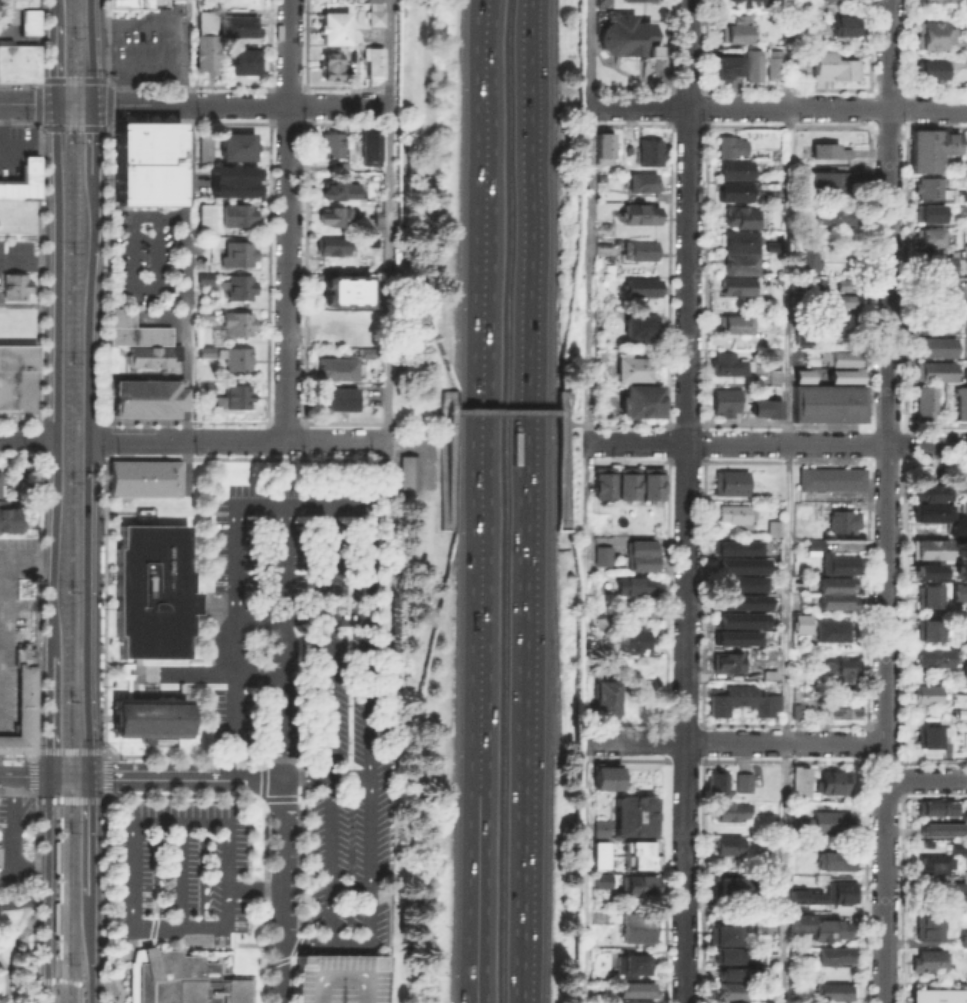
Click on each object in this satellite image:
building: (643, 0)
building: (941, 0)
building: (745, 1)
building: (137, 4)
road: (56, 10)
building: (20, 13)
building: (203, 17)
building: (375, 17)
building: (237, 23)
building: (845, 24)
building: (333, 27)
building: (734, 27)
building: (934, 33)
building: (622, 34)
road: (106, 39)
road: (38, 40)
road: (270, 42)
road: (306, 42)
parking lot: (147, 46)
building: (203, 50)
road: (91, 51)
road: (289, 52)
road: (586, 53)
building: (16, 58)
building: (240, 59)
building: (370, 59)
building: (327, 62)
road: (56, 63)
building: (751, 63)
building: (772, 63)
building: (829, 63)
building: (724, 64)
building: (929, 67)
road: (19, 82)
road: (187, 85)
road: (288, 85)
road: (348, 85)
road: (270, 103)
road: (306, 103)
traffic signals: (56, 104)
traffic signals: (93, 104)
road: (144, 104)
road: (339, 105)
road: (776, 107)
road: (107, 121)
road: (19, 122)
road: (287, 122)
road: (92, 138)
building: (326, 142)
building: (730, 143)
building: (145, 144)
building: (201, 144)
building: (233, 146)
building: (367, 146)
building: (929, 146)
building: (601, 148)
building: (829, 149)
building: (647, 150)
building: (732, 166)
building: (828, 176)
building: (19, 178)
building: (237, 179)
building: (641, 180)
building: (336, 186)
building: (925, 186)
building: (144, 187)
building: (732, 190)
building: (962, 208)
building: (927, 211)
road: (525, 212)
building: (640, 212)
building: (240, 213)
building: (332, 213)
building: (832, 213)
building: (738, 215)
building: (205, 216)
road: (388, 220)
building: (927, 236)
building: (329, 243)
road: (187, 245)
building: (771, 246)
building: (737, 247)
building: (637, 248)
building: (236, 250)
parking lot: (144, 256)
building: (806, 260)
building: (934, 263)
road: (587, 266)
road: (37, 271)
road: (288, 272)
building: (202, 275)
building: (846, 281)
building: (12, 282)
building: (734, 282)
building: (238, 284)
building: (639, 286)
building: (344, 290)
building: (932, 290)
building: (847, 299)
building: (200, 311)
road: (305, 313)
building: (333, 319)
building: (841, 319)
building: (235, 320)
building: (734, 322)
building: (934, 323)
building: (638, 324)
building: (365, 333)
building: (803, 335)
building: (138, 338)
building: (934, 346)
building: (203, 348)
building: (364, 350)
building: (774, 354)
building: (233, 356)
building: (845, 356)
building: (728, 363)
building: (336, 365)
building: (632, 367)
road: (788, 371)
building: (934, 371)
building: (16, 374)
building: (802, 375)
building: (843, 375)
building: (965, 375)
road: (58, 379)
building: (204, 386)
building: (232, 394)
building: (335, 396)
building: (143, 398)
road: (451, 398)
road: (560, 399)
building: (639, 399)
building: (722, 399)
building: (826, 401)
building: (924, 402)
building: (961, 402)
building: (765, 408)
road: (505, 412)
road: (18, 419)
road: (263, 422)
road: (286, 422)
road: (668, 422)
road: (686, 422)
road: (704, 423)
road: (627, 424)
road: (785, 424)
road: (867, 424)
road: (886, 424)
road: (905, 425)
road: (936, 425)
road: (37, 437)
road: (28, 439)
road: (106, 439)
road: (187, 440)
road: (337, 440)
road: (586, 441)
road: (668, 442)
road: (705, 442)
road: (866, 442)
road: (776, 443)
road: (905, 443)
road: (18, 455)
road: (626, 460)
road: (704, 460)
road: (746, 460)
road: (827, 460)
road: (667, 461)
road: (685, 461)
road: (866, 461)
road: (886, 461)
road: (905, 461)
road: (936, 461)
building: (408, 471)
road: (87, 473)
road: (380, 473)
road: (206, 475)
building: (143, 477)
building: (829, 477)
building: (961, 479)
building: (603, 482)
building: (729, 482)
building: (626, 483)
building: (650, 483)
building: (929, 489)
road: (487, 495)
railway: (67, 501)
railway: (77, 501)
road: (686, 501)
road: (885, 501)
road: (244, 504)
road: (443, 506)
building: (964, 507)
building: (731, 509)
road: (162, 510)
building: (932, 511)
building: (801, 516)
building: (5, 517)
building: (841, 520)
building: (958, 524)
road: (566, 526)
building: (776, 526)
building: (811, 540)
road: (105, 544)
building: (734, 544)
building: (928, 546)
building: (960, 548)
building: (640, 553)
building: (600, 554)
road: (27, 557)
building: (836, 559)
building: (737, 561)
road: (283, 565)
building: (926, 570)
building: (960, 571)
building: (737, 579)
building: (632, 584)
building: (833, 588)
building: (151, 589)
building: (959, 592)
building: (927, 594)
building: (740, 598)
road: (37, 602)
building: (738, 616)
building: (964, 616)
road: (324, 617)
building: (801, 623)
road: (280, 626)
building: (926, 628)
building: (625, 629)
building: (830, 629)
building: (733, 634)
building: (965, 636)
building: (629, 640)
building: (753, 650)
building: (966, 654)
building: (933, 655)
building: (724, 657)
building: (840, 668)
building: (964, 670)
road: (197, 674)
building: (927, 693)
building: (606, 696)
building: (742, 698)
building: (958, 700)
building: (19, 702)
building: (838, 706)
building: (794, 708)
road: (522, 711)
road: (53, 715)
building: (148, 717)
road: (236, 722)
road: (286, 725)
road: (329, 726)
road: (369, 727)
road: (583, 730)
parking lot: (278, 732)
building: (928, 734)
road: (733, 743)
road: (70, 750)
road: (20, 756)
road: (33, 774)
road: (107, 774)
road: (183, 774)
road: (69, 775)
traffic signals: (89, 775)
road: (25, 776)
traffic signals: (51, 776)
road: (322, 776)
building: (605, 777)
building: (832, 779)
road: (925, 779)
building: (742, 781)
building: (798, 781)
building: (715, 782)
road: (20, 792)
road: (261, 797)
road: (70, 799)
building: (936, 806)
building: (728, 809)
building: (962, 813)
building: (633, 815)
road: (265, 819)
road: (179, 820)
building: (820, 820)
building: (600, 827)
building: (941, 827)
road: (88, 834)
road: (12, 842)
building: (728, 842)
building: (958, 846)
building: (598, 854)
building: (639, 854)
building: (832, 858)
building: (932, 861)
building: (966, 863)
road: (180, 872)
road: (785, 873)
building: (809, 877)
road: (47, 878)
building: (601, 879)
building: (724, 881)
building: (635, 883)
road: (255, 888)
road: (54, 889)
building: (838, 890)
road: (284, 892)
building: (958, 893)
building: (805, 896)
building: (798, 922)
road: (178, 925)
building: (927, 925)
building: (828, 927)
building: (636, 929)
building: (722, 931)
building: (963, 935)
road: (90, 937)
road: (326, 948)
building: (832, 953)
building: (728, 954)
park: (18, 955)
railway: (51, 955)
building: (928, 959)
building: (631, 961)
building: (735, 968)
building: (733, 973)
building: (338, 977)
parking lot: (338, 977)
road: (58, 978)
building: (180, 980)
road: (4, 981)
building: (636, 986)
road: (83, 987)
building: (726, 987)
building: (832, 989)
road: (92, 991)
road: (47, 992)
building: (937, 995)
road: (484, 996)
road: (487, 996)
road: (519, 1000)
building: (633, 1001)
building: (723, 1001)
building: (766, 1001)

